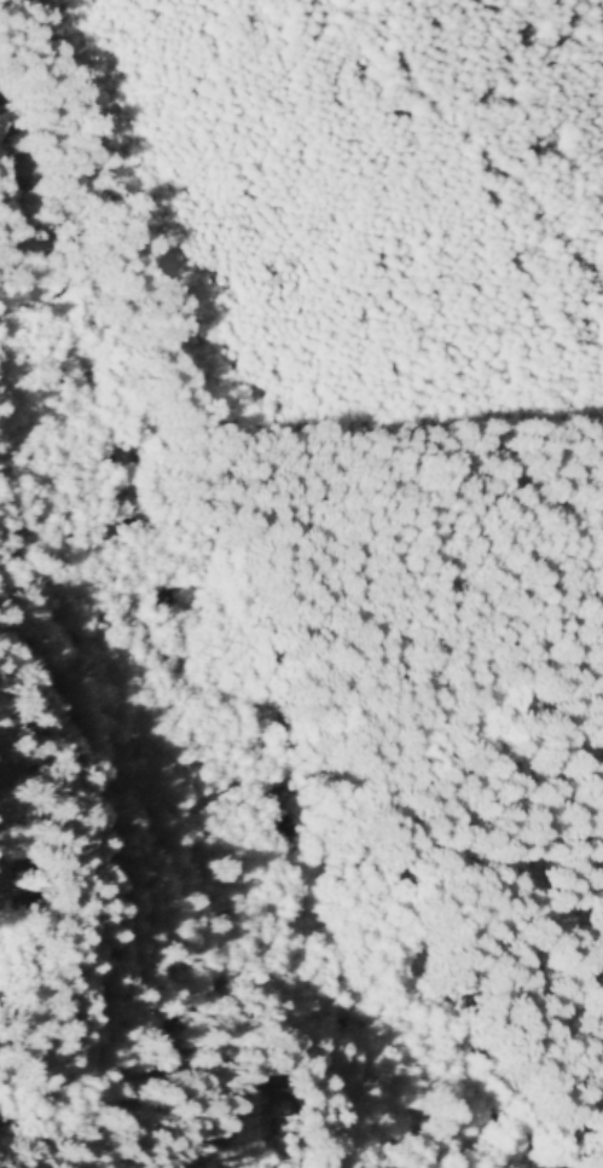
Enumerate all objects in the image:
road: (475, 150)

